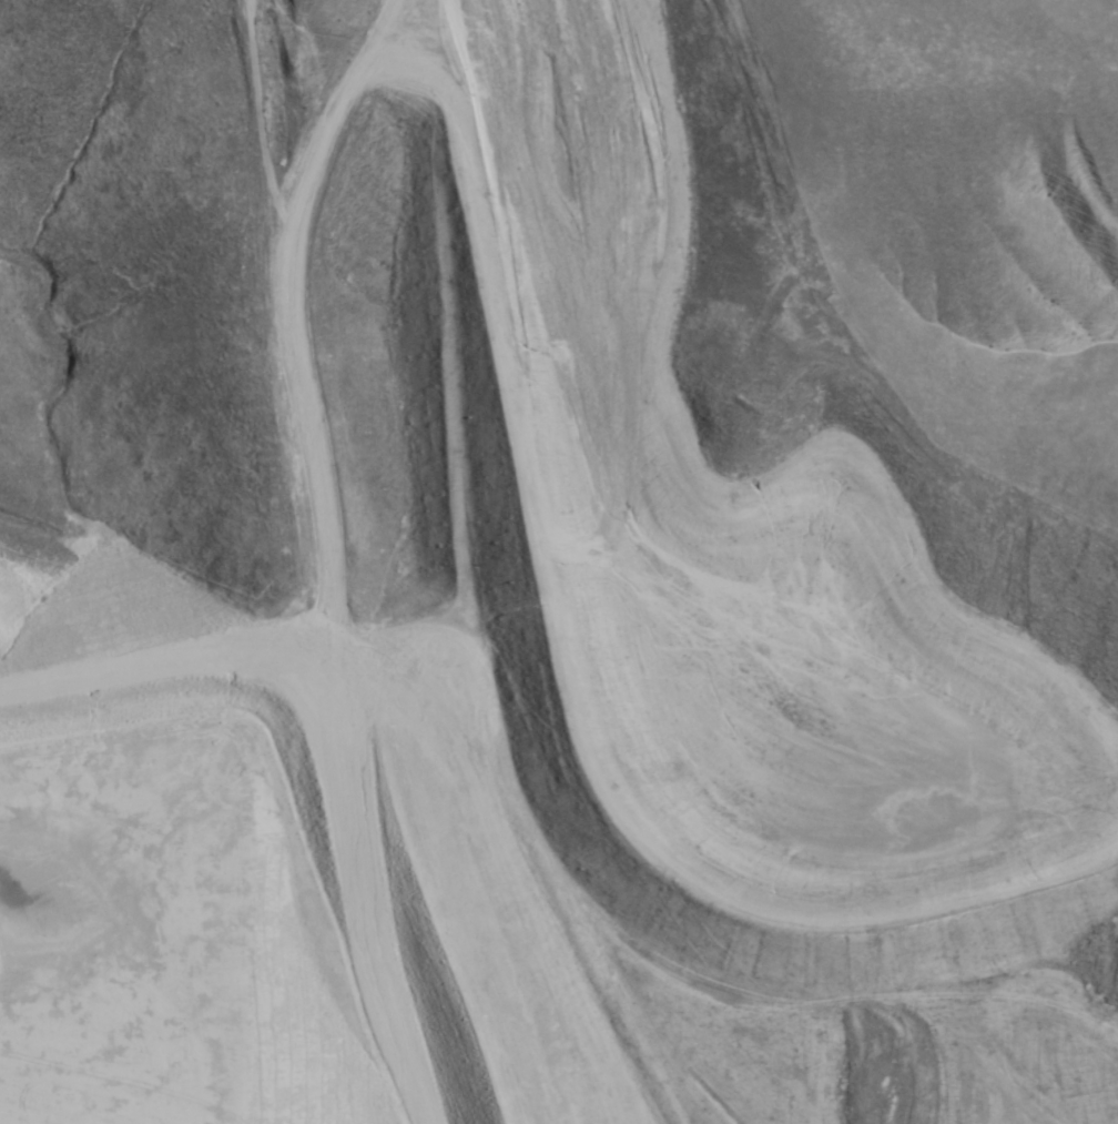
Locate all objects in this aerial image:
road: (314, 557)
road: (248, 648)
road: (155, 660)
road: (72, 669)

